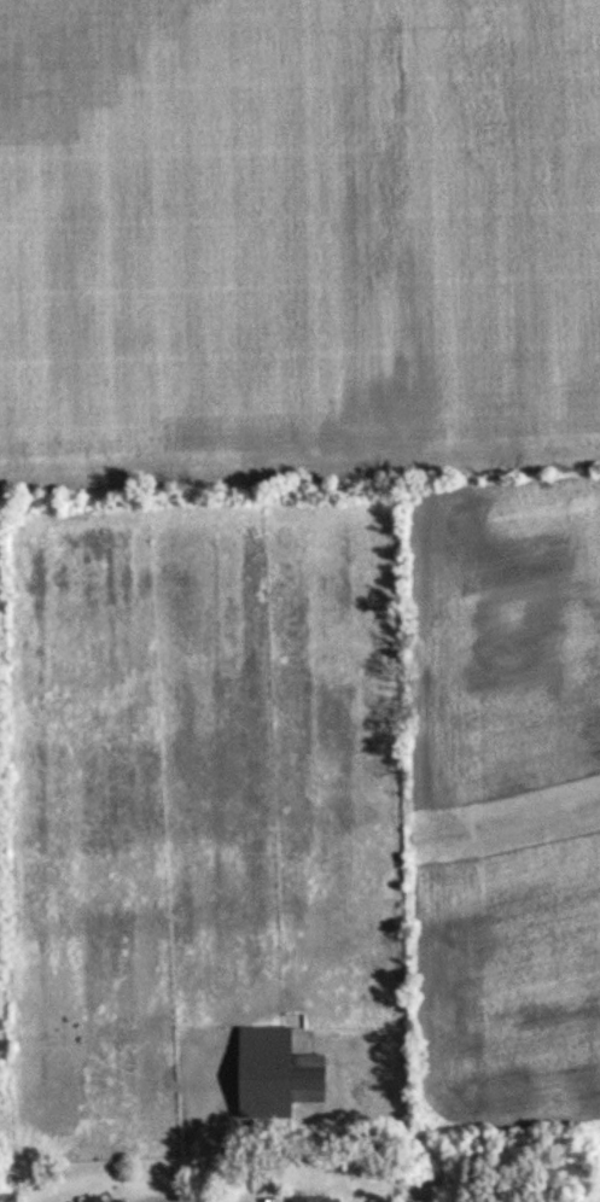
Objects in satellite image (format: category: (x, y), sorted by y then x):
airport runway: (502, 790)
building: (270, 1074)
road: (205, 1197)
building: (86, 1198)
building: (304, 1200)
building: (121, 1201)

